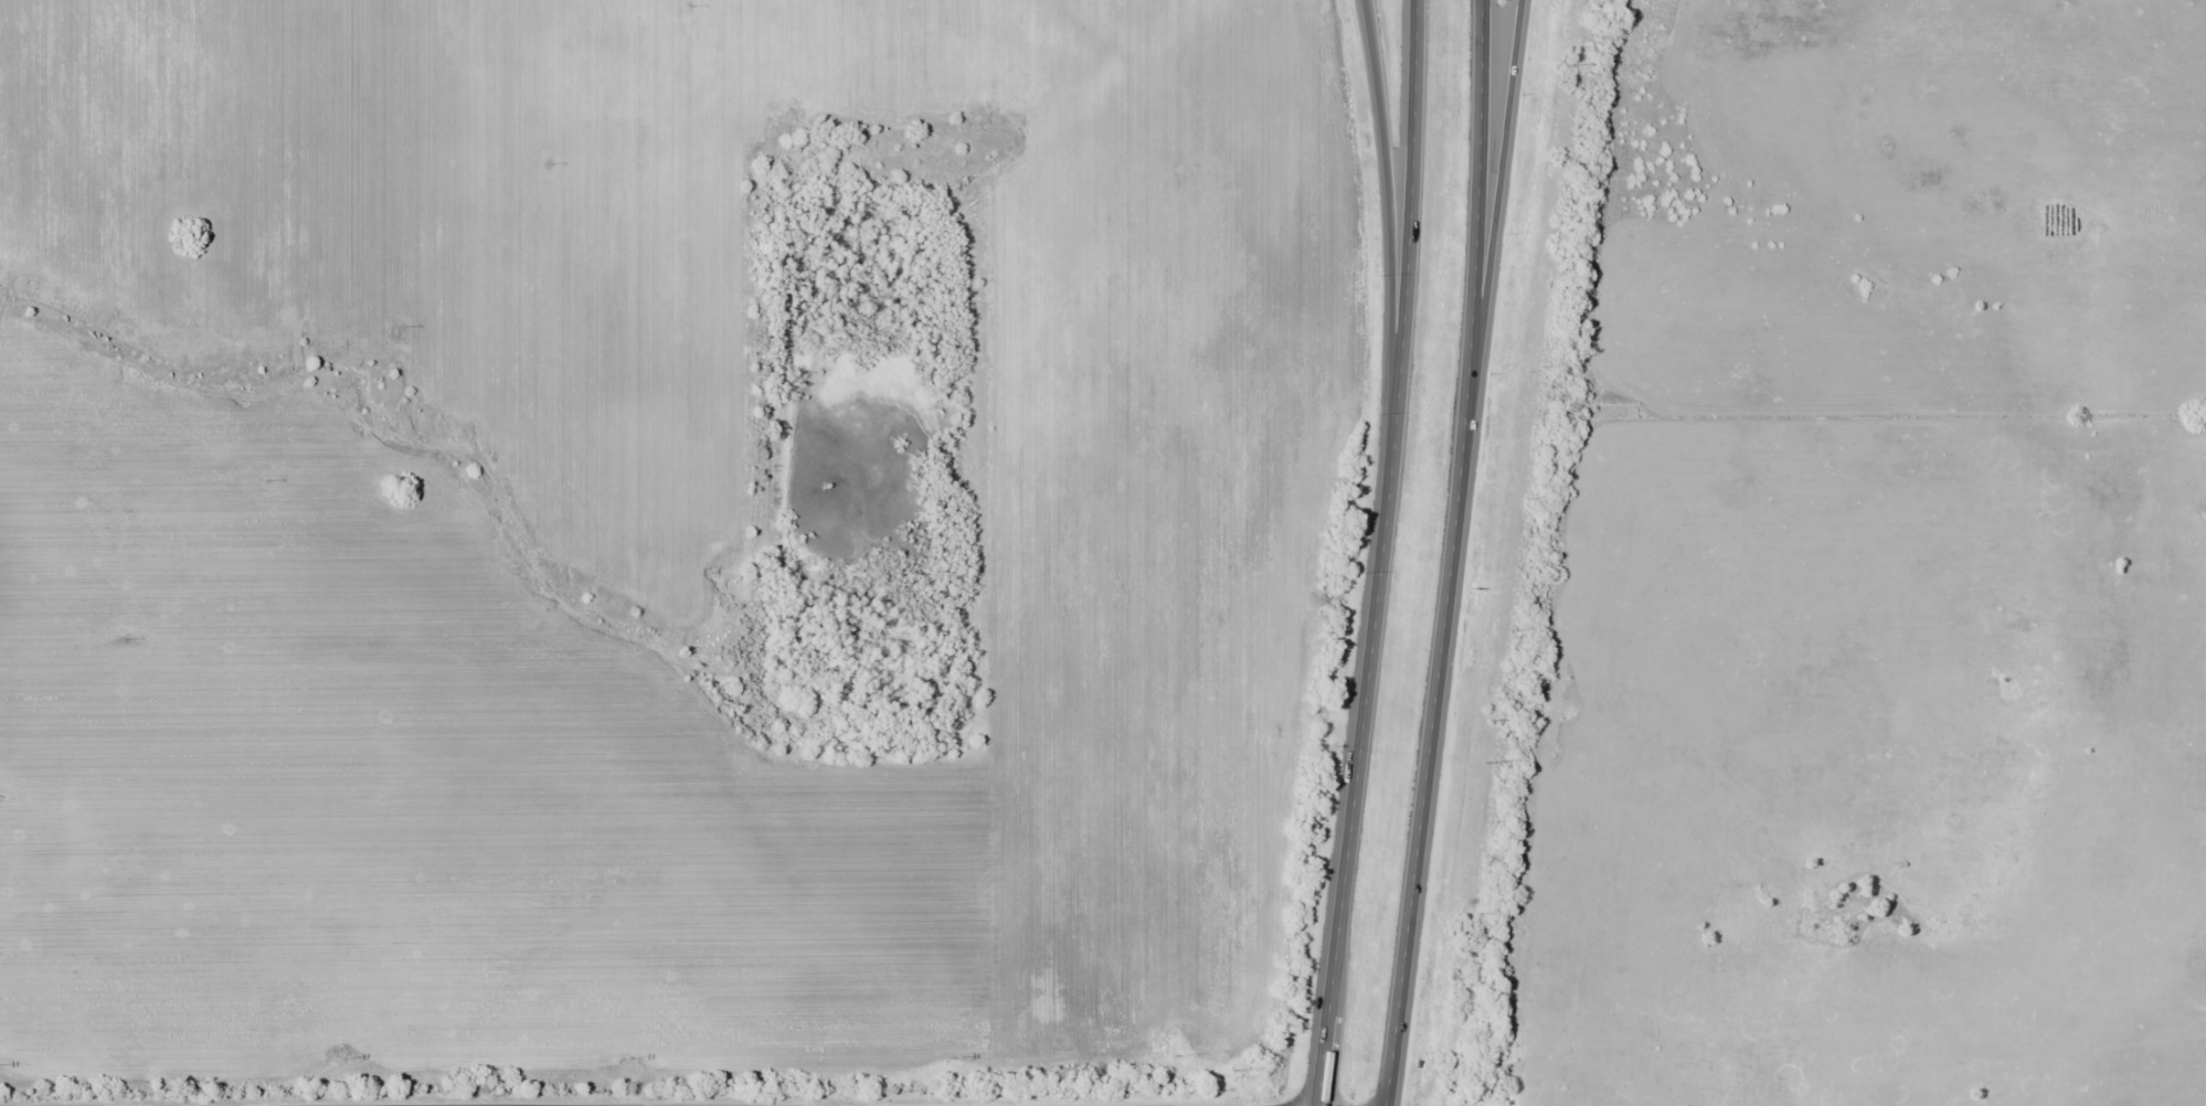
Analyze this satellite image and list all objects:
road: (1388, 199)
road: (1495, 203)
road: (1378, 553)
railway: (1514, 553)
road: (1450, 554)
power tower: (1171, 1055)
power tower: (340, 1056)
power tower: (948, 1056)
power tower: (628, 1059)

